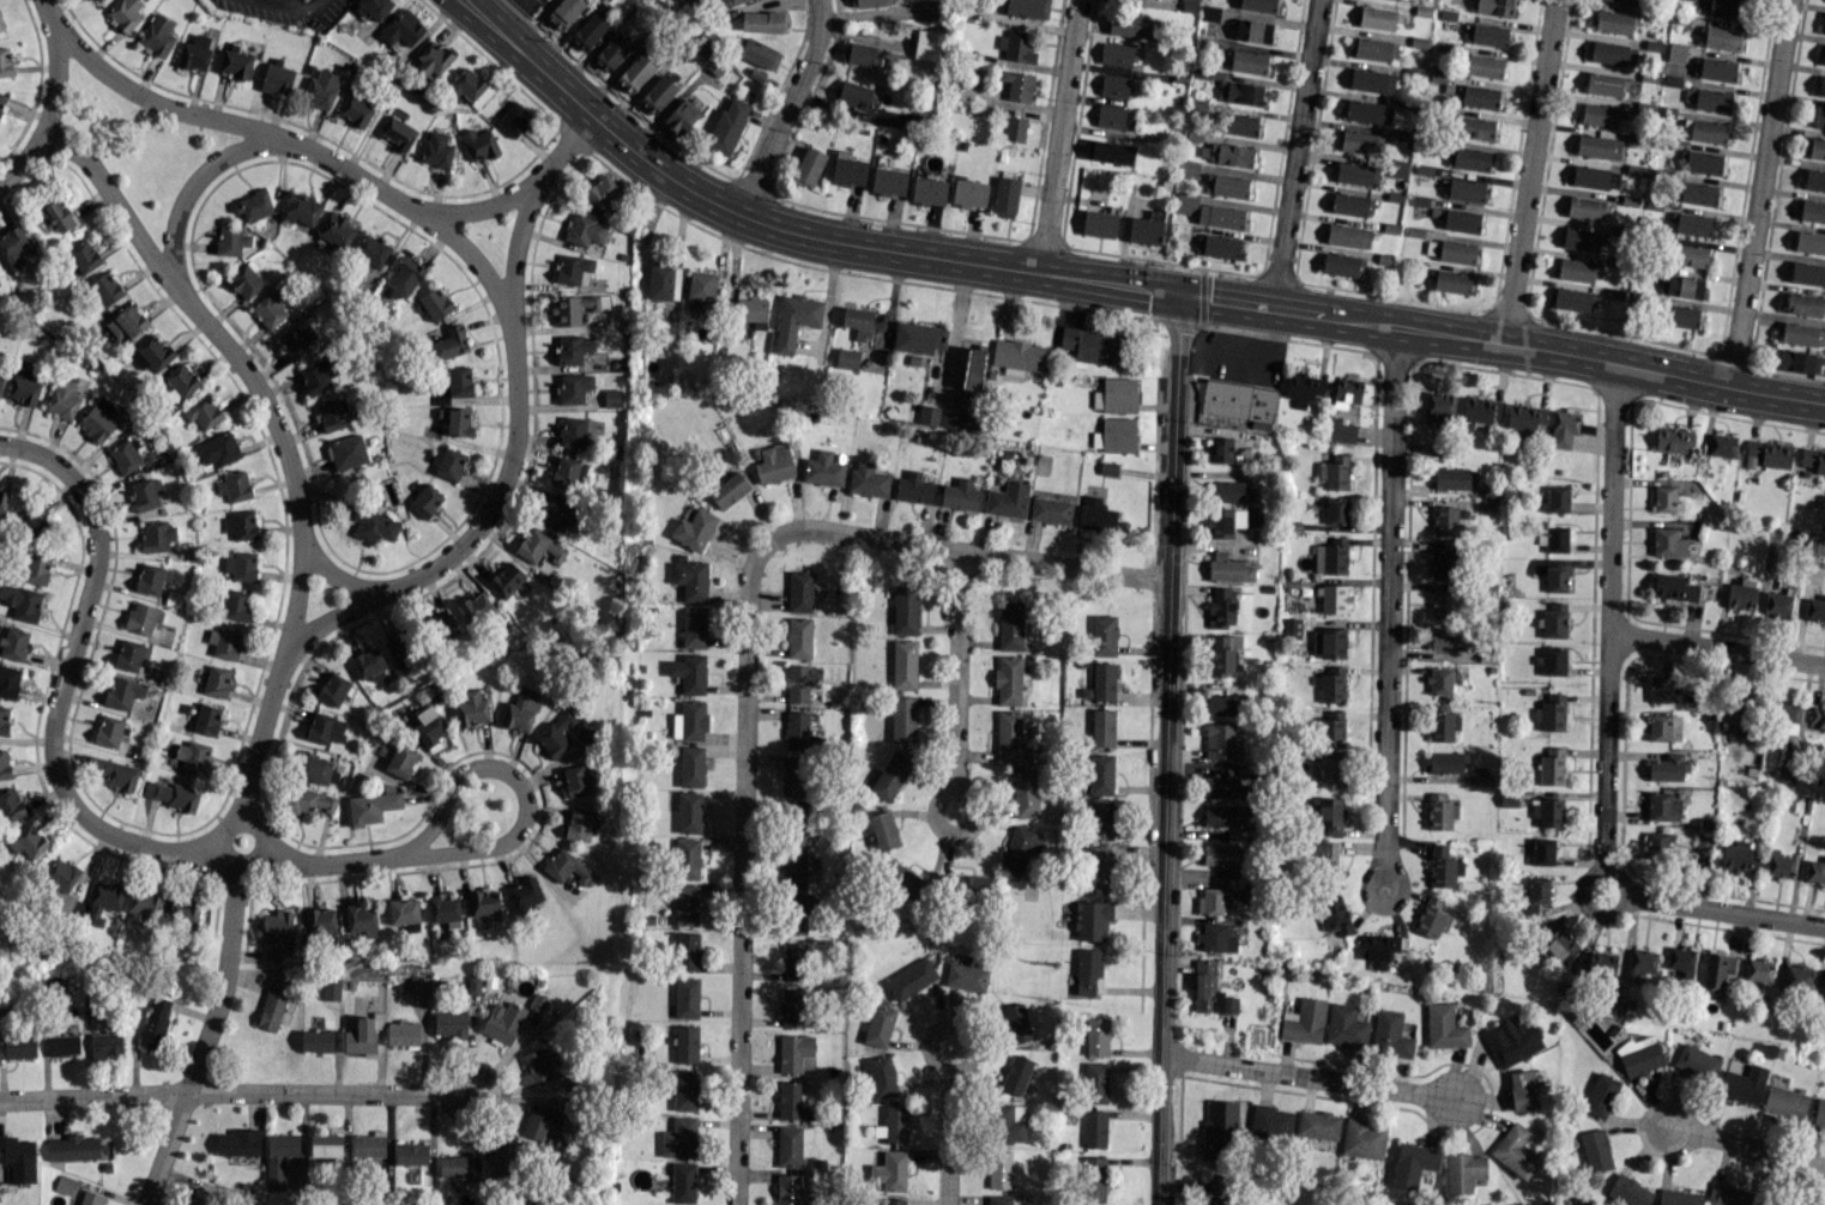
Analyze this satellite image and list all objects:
building: (91, 0)
building: (729, 1)
building: (1626, 1)
road: (314, 2)
building: (868, 2)
building: (1189, 5)
building: (1258, 5)
road: (282, 6)
building: (1491, 6)
building: (1027, 8)
building: (1722, 8)
building: (564, 12)
building: (126, 13)
building: (1210, 13)
building: (1378, 18)
building: (762, 22)
building: (1614, 22)
building: (1, 24)
building: (1130, 24)
building: (403, 29)
building: (588, 31)
building: (1252, 31)
building: (1486, 34)
building: (930, 35)
building: (157, 36)
building: (1718, 37)
building: (1015, 47)
building: (1373, 49)
building: (612, 52)
building: (194, 53)
building: (760, 53)
building: (1613, 53)
building: (1116, 54)
building: (1824, 56)
building: (430, 60)
building: (1247, 61)
building: (5, 62)
building: (236, 62)
building: (1485, 66)
building: (1714, 68)
building: (635, 73)
building: (277, 77)
building: (1371, 80)
building: (1603, 84)
building: (1017, 85)
building: (1113, 85)
building: (1821, 86)
building: (469, 87)
building: (321, 89)
building: (1239, 92)
building: (658, 93)
building: (854, 96)
building: (1477, 96)
building: (2, 99)
building: (1714, 99)
building: (1197, 105)
road: (787, 109)
building: (356, 110)
building: (1367, 111)
building: (1599, 114)
building: (681, 116)
building: (1110, 116)
building: (1819, 116)
building: (514, 119)
building: (1239, 123)
building: (727, 126)
building: (1474, 127)
building: (1014, 128)
building: (1708, 131)
building: (397, 133)
road: (1060, 137)
road: (276, 138)
building: (1358, 141)
building: (479, 144)
building: (1599, 146)
building: (1817, 147)
building: (436, 150)
building: (1112, 152)
building: (1226, 153)
road: (1295, 153)
building: (1467, 158)
road: (24, 159)
building: (1700, 162)
building: (809, 166)
building: (1398, 168)
building: (848, 169)
building: (1189, 169)
road: (1529, 171)
building: (1356, 172)
building: (1595, 177)
building: (1814, 180)
building: (888, 181)
building: (1226, 186)
road: (189, 187)
building: (1463, 189)
building: (602, 190)
building: (929, 190)
building: (969, 193)
building: (1698, 193)
road: (1758, 193)
road: (526, 194)
building: (1005, 196)
building: (1185, 202)
building: (1352, 204)
building: (253, 205)
building: (301, 207)
road: (477, 207)
building: (1587, 208)
building: (1812, 211)
building: (55, 214)
building: (1220, 216)
road: (649, 217)
building: (1461, 220)
building: (1098, 224)
building: (1692, 224)
building: (1146, 228)
building: (336, 230)
building: (584, 230)
building: (1348, 235)
building: (230, 238)
building: (1581, 238)
building: (1809, 242)
building: (1217, 246)
building: (13, 247)
building: (371, 250)
building: (1457, 252)
building: (1690, 255)
building: (84, 256)
building: (1342, 264)
building: (573, 270)
building: (1576, 270)
building: (1807, 273)
building: (404, 277)
building: (1450, 280)
building: (246, 281)
building: (663, 283)
road: (1107, 283)
building: (0, 284)
building: (701, 285)
building: (1686, 286)
building: (105, 287)
traffic signals: (1180, 293)
building: (1573, 299)
building: (435, 303)
building: (1805, 304)
building: (270, 309)
building: (572, 309)
building: (753, 310)
building: (1680, 315)
building: (794, 320)
building: (126, 322)
building: (857, 322)
building: (1802, 334)
building: (919, 338)
building: (297, 340)
building: (449, 343)
building: (1092, 345)
building: (573, 349)
building: (151, 353)
building: (1017, 356)
building: (846, 358)
road: (1243, 358)
building: (1797, 361)
building: (972, 369)
building: (316, 375)
building: (0, 376)
building: (459, 381)
building: (179, 382)
building: (24, 386)
building: (573, 387)
building: (1303, 387)
building: (1347, 389)
building: (1119, 394)
road: (260, 396)
building: (612, 398)
building: (62, 400)
building: (1240, 402)
building: (104, 405)
building: (1437, 407)
building: (1481, 411)
building: (203, 412)
building: (332, 414)
building: (927, 414)
building: (1524, 417)
building: (953, 418)
building: (455, 419)
building: (96, 423)
building: (1563, 428)
building: (572, 431)
building: (1338, 431)
building: (1116, 435)
building: (1674, 438)
building: (1722, 444)
building: (218, 449)
building: (1221, 449)
building: (346, 452)
building: (1770, 453)
building: (125, 456)
building: (1814, 460)
building: (447, 462)
building: (774, 464)
building: (1110, 468)
building: (823, 470)
building: (566, 472)
building: (1334, 473)
building: (1455, 478)
building: (868, 479)
building: (234, 486)
building: (913, 488)
building: (729, 490)
building: (1227, 491)
building: (146, 493)
building: (960, 495)
building: (1557, 498)
building: (1663, 498)
building: (1008, 499)
building: (424, 501)
building: (4, 502)
building: (1051, 510)
building: (1336, 510)
building: (556, 511)
building: (1095, 514)
building: (1444, 520)
road: (479, 521)
building: (1225, 521)
building: (30, 523)
building: (243, 525)
building: (374, 526)
building: (693, 529)
building: (157, 537)
building: (1553, 538)
building: (1668, 543)
building: (1815, 544)
building: (539, 546)
road: (978, 552)
building: (1331, 556)
building: (1443, 559)
building: (240, 565)
building: (36, 568)
building: (1228, 568)
road: (331, 573)
building: (690, 577)
building: (150, 579)
building: (1555, 579)
building: (506, 580)
building: (1673, 587)
building: (799, 591)
building: (1741, 594)
building: (1333, 599)
building: (22, 600)
road: (1390, 600)
building: (235, 604)
building: (1445, 604)
building: (1778, 604)
building: (1221, 607)
building: (1814, 608)
building: (476, 610)
building: (905, 610)
building: (143, 617)
building: (1553, 620)
building: (1011, 625)
building: (442, 626)
building: (694, 628)
road: (1612, 634)
building: (1104, 635)
building: (798, 637)
building: (1448, 638)
building: (224, 642)
building: (1328, 642)
building: (13, 643)
building: (401, 647)
road: (1718, 647)
building: (131, 654)
building: (1223, 654)
building: (1552, 660)
building: (368, 664)
building: (904, 664)
road: (956, 668)
building: (689, 673)
road: (62, 678)
building: (1442, 679)
building: (8, 680)
building: (217, 680)
building: (1008, 680)
building: (1105, 682)
building: (800, 683)
building: (1330, 684)
building: (1660, 688)
building: (333, 689)
building: (123, 691)
building: (1222, 704)
building: (471, 709)
building: (519, 710)
building: (1551, 713)
building: (1787, 717)
building: (1817, 717)
building: (206, 719)
building: (904, 719)
building: (4, 720)
building: (689, 721)
building: (1442, 723)
building: (429, 725)
building: (1739, 725)
building: (1102, 727)
building: (1663, 727)
building: (325, 728)
building: (1331, 728)
building: (108, 731)
building: (798, 731)
building: (556, 733)
building: (1009, 734)
building: (1219, 740)
road: (1166, 749)
building: (192, 756)
building: (400, 761)
building: (1446, 762)
building: (4, 764)
building: (691, 765)
building: (1552, 767)
building: (1667, 768)
building: (319, 769)
building: (1330, 771)
building: (115, 773)
building: (1100, 774)
building: (796, 776)
building: (890, 776)
building: (575, 780)
building: (1220, 787)
building: (1025, 792)
building: (169, 794)
building: (308, 800)
building: (10, 806)
building: (370, 806)
building: (1662, 806)
building: (1440, 811)
building: (689, 812)
building: (1548, 812)
building: (1328, 815)
building: (1220, 816)
building: (1101, 819)
building: (796, 822)
building: (579, 825)
building: (883, 830)
road: (949, 831)
building: (28, 842)
road: (500, 843)
building: (1657, 844)
road: (220, 848)
building: (1020, 848)
building: (1542, 852)
building: (1220, 854)
road: (739, 856)
building: (1323, 856)
building: (1739, 856)
building: (687, 858)
building: (1779, 864)
building: (568, 866)
building: (1098, 866)
building: (794, 867)
building: (1443, 867)
building: (1815, 871)
building: (61, 874)
building: (904, 879)
building: (969, 885)
building: (524, 895)
building: (1535, 895)
building: (103, 900)
building: (1213, 901)
road: (1376, 903)
building: (484, 904)
building: (685, 904)
road: (1584, 904)
building: (143, 907)
building: (445, 909)
building: (186, 910)
road: (1728, 910)
building: (404, 913)
building: (794, 914)
building: (1334, 915)
building: (1430, 918)
building: (1092, 920)
building: (362, 921)
building: (320, 922)
building: (276, 932)
building: (1219, 937)
building: (1558, 941)
building: (1378, 950)
building: (687, 951)
building: (1681, 959)
building: (794, 961)
building: (1601, 964)
building: (1642, 965)
building: (1758, 969)
building: (1087, 970)
building: (1716, 971)
building: (967, 975)
building: (911, 979)
building: (1796, 979)
building: (1824, 982)
building: (418, 985)
building: (1205, 987)
building: (331, 988)
building: (687, 998)
building: (273, 999)
building: (1229, 1005)
building: (792, 1007)
building: (1304, 1021)
building: (502, 1022)
building: (155, 1023)
building: (451, 1023)
building: (1016, 1023)
building: (878, 1025)
building: (1344, 1025)
road: (949, 1027)
building: (1445, 1027)
building: (403, 1034)
building: (1390, 1034)
road: (201, 1035)
building: (1096, 1036)
building: (316, 1041)
building: (1511, 1041)
building: (62, 1044)
building: (104, 1044)
building: (685, 1044)
building: (19, 1047)
building: (793, 1052)
building: (1639, 1055)
building: (1696, 1061)
building: (536, 1066)
building: (1016, 1074)
building: (882, 1076)
road: (1309, 1077)
building: (1095, 1082)
building: (1742, 1084)
road: (229, 1089)
building: (684, 1090)
building: (1522, 1090)
building: (1600, 1095)
building: (792, 1100)
building: (1785, 1101)
building: (1271, 1121)
building: (540, 1122)
building: (1009, 1122)
road: (1644, 1122)
building: (1318, 1124)
building: (893, 1125)
building: (1094, 1128)
building: (1219, 1130)
building: (679, 1138)
building: (1364, 1139)
road: (947, 1140)
building: (238, 1142)
building: (369, 1144)
building: (792, 1144)
building: (325, 1145)
building: (73, 1148)
building: (1595, 1150)
road: (1754, 1150)
building: (1515, 1151)
building: (411, 1153)
building: (19, 1158)
building: (279, 1158)
building: (503, 1158)
building: (1412, 1164)
building: (454, 1165)
building: (998, 1169)
building: (890, 1170)
building: (1463, 1171)
building: (1094, 1180)
building: (683, 1182)
road: (1790, 1182)
building: (64, 1183)
building: (793, 1189)
building: (1217, 1192)
building: (1628, 1192)
building: (1728, 1194)
building: (199, 1197)
building: (1679, 1197)
building: (90, 1198)
building: (999, 1199)
building: (894, 1201)

